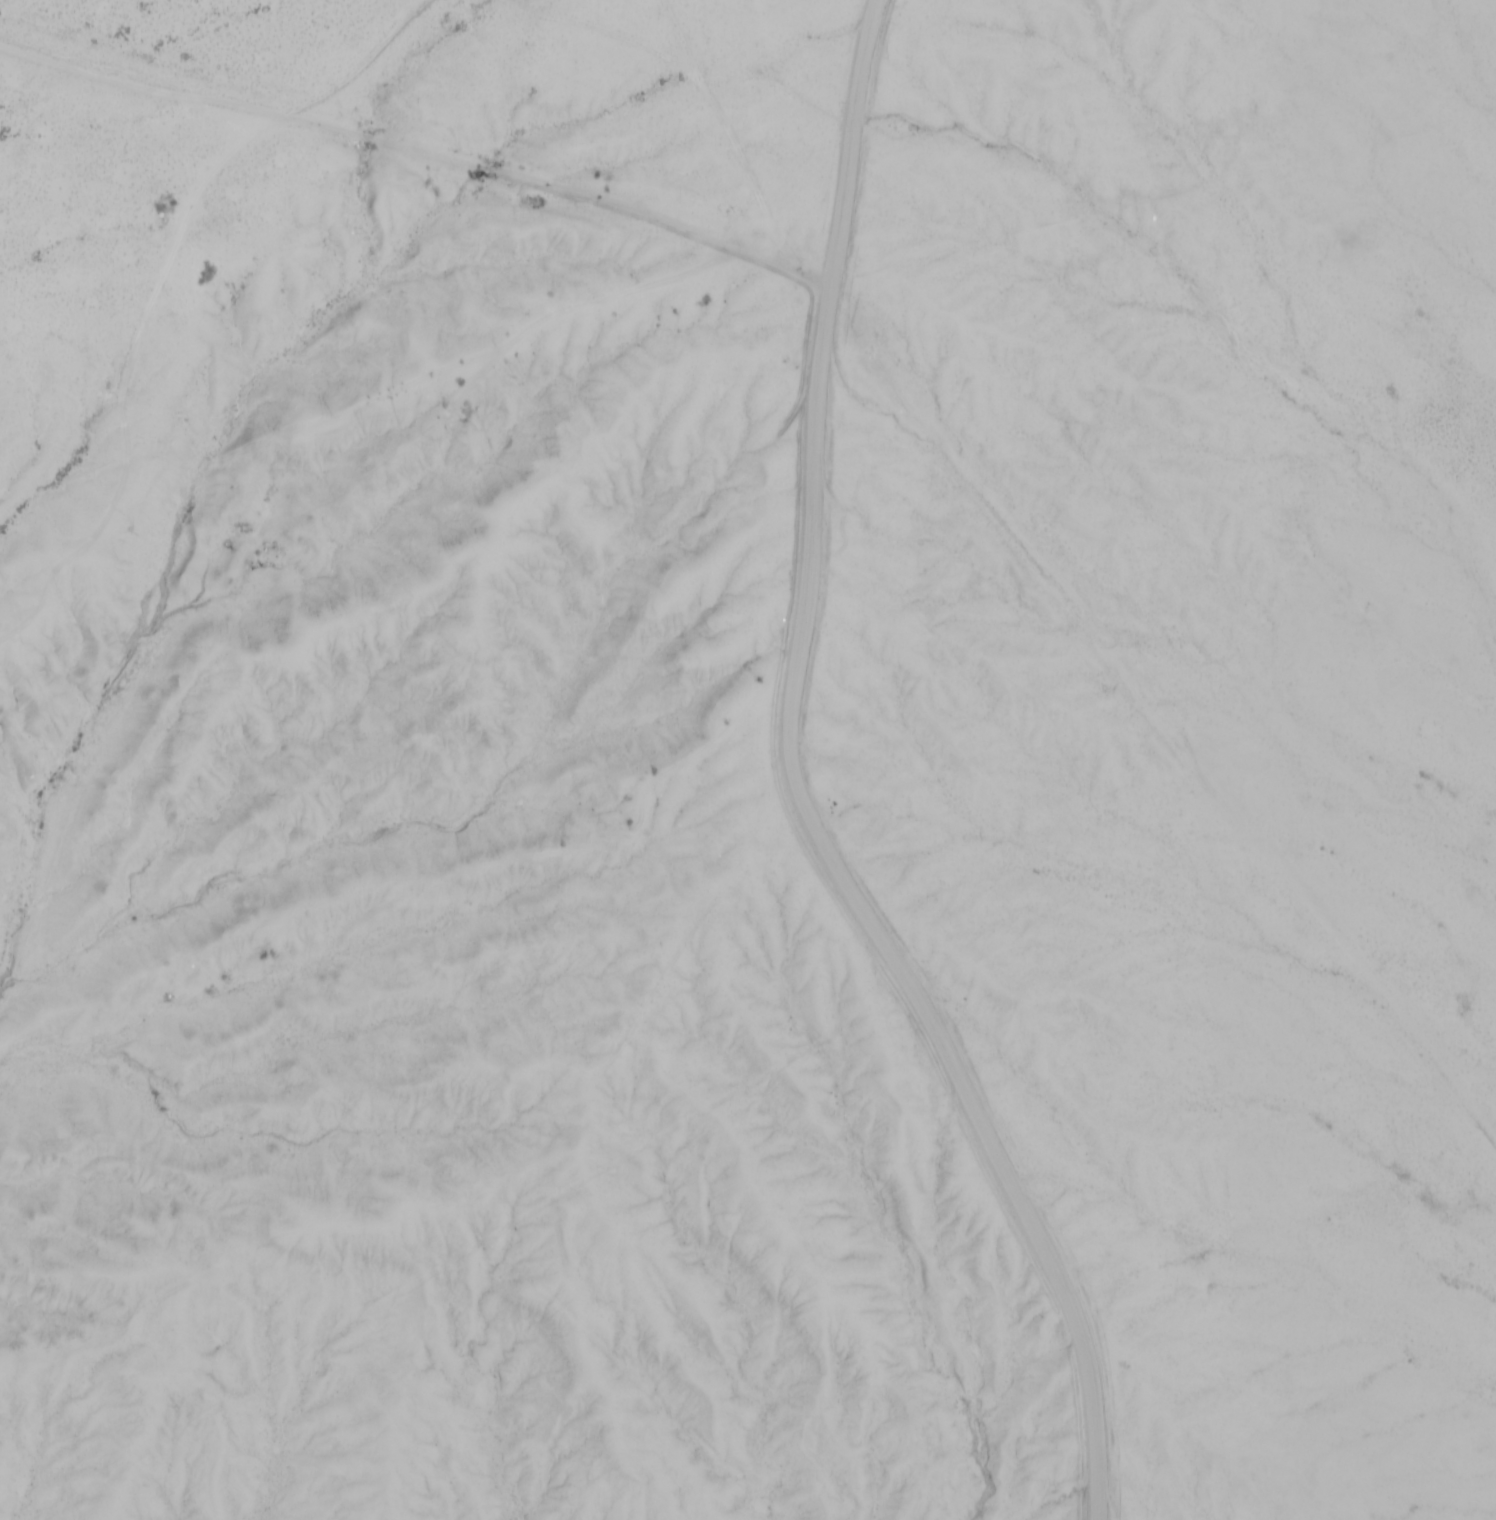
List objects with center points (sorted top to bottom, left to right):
road: (602, 31)
road: (676, 42)
road: (860, 60)
road: (416, 149)
road: (746, 176)
road: (828, 847)

